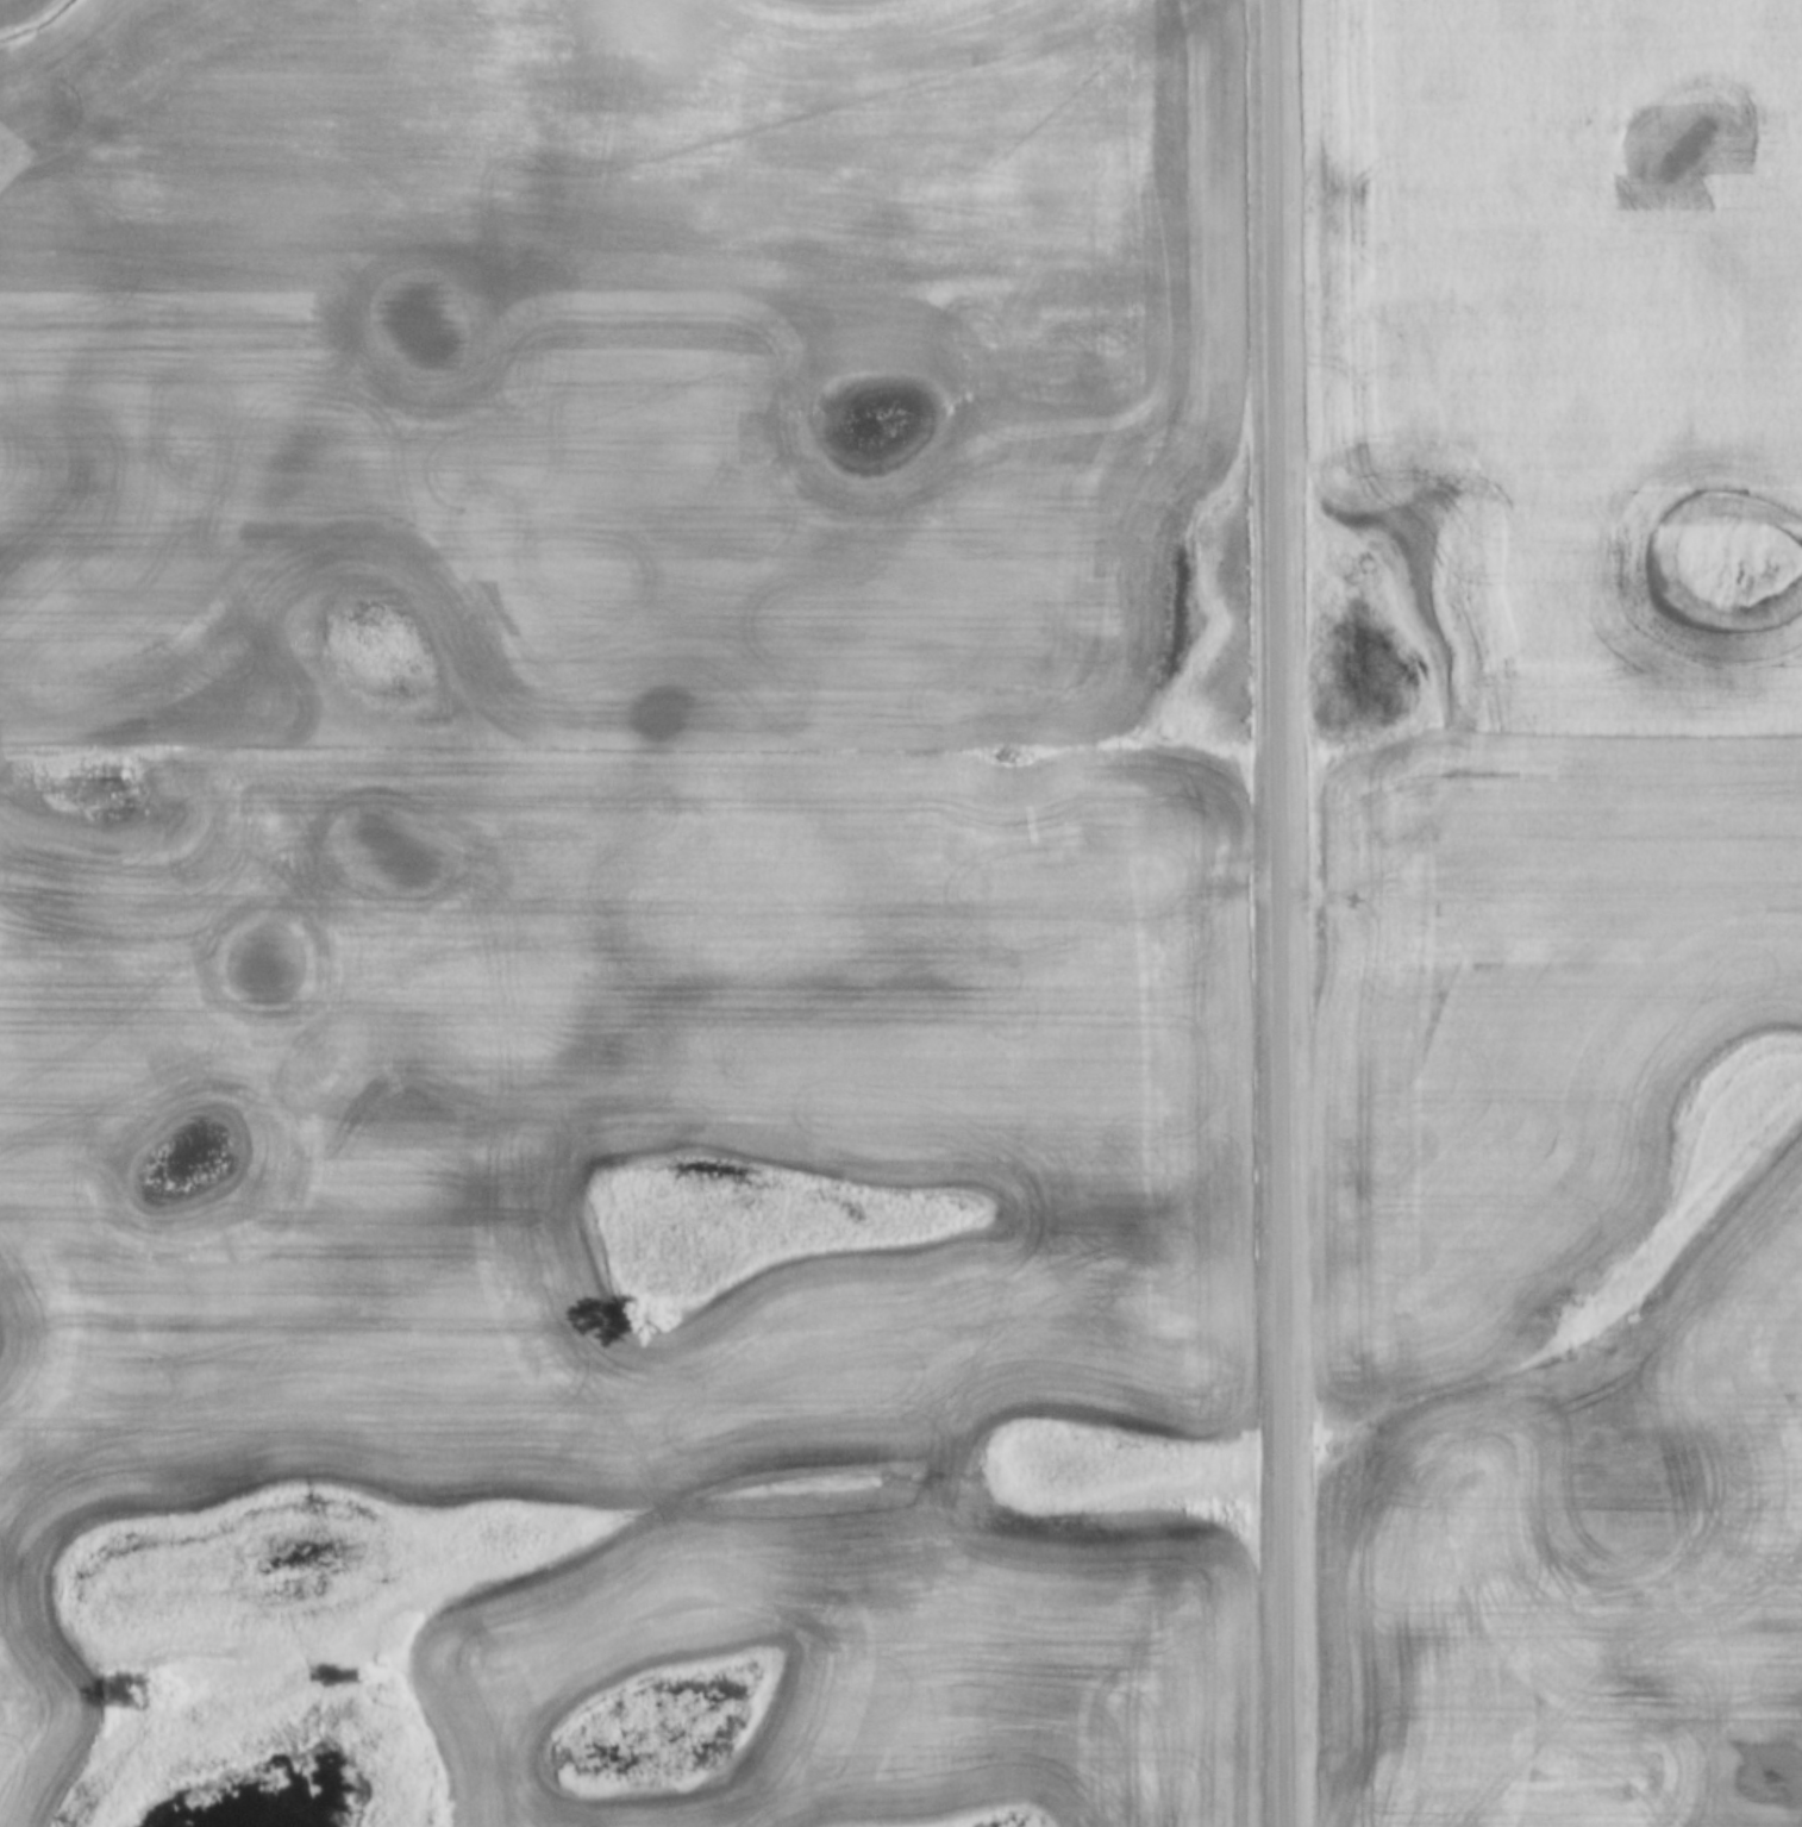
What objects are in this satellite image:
road: (1285, 913)

